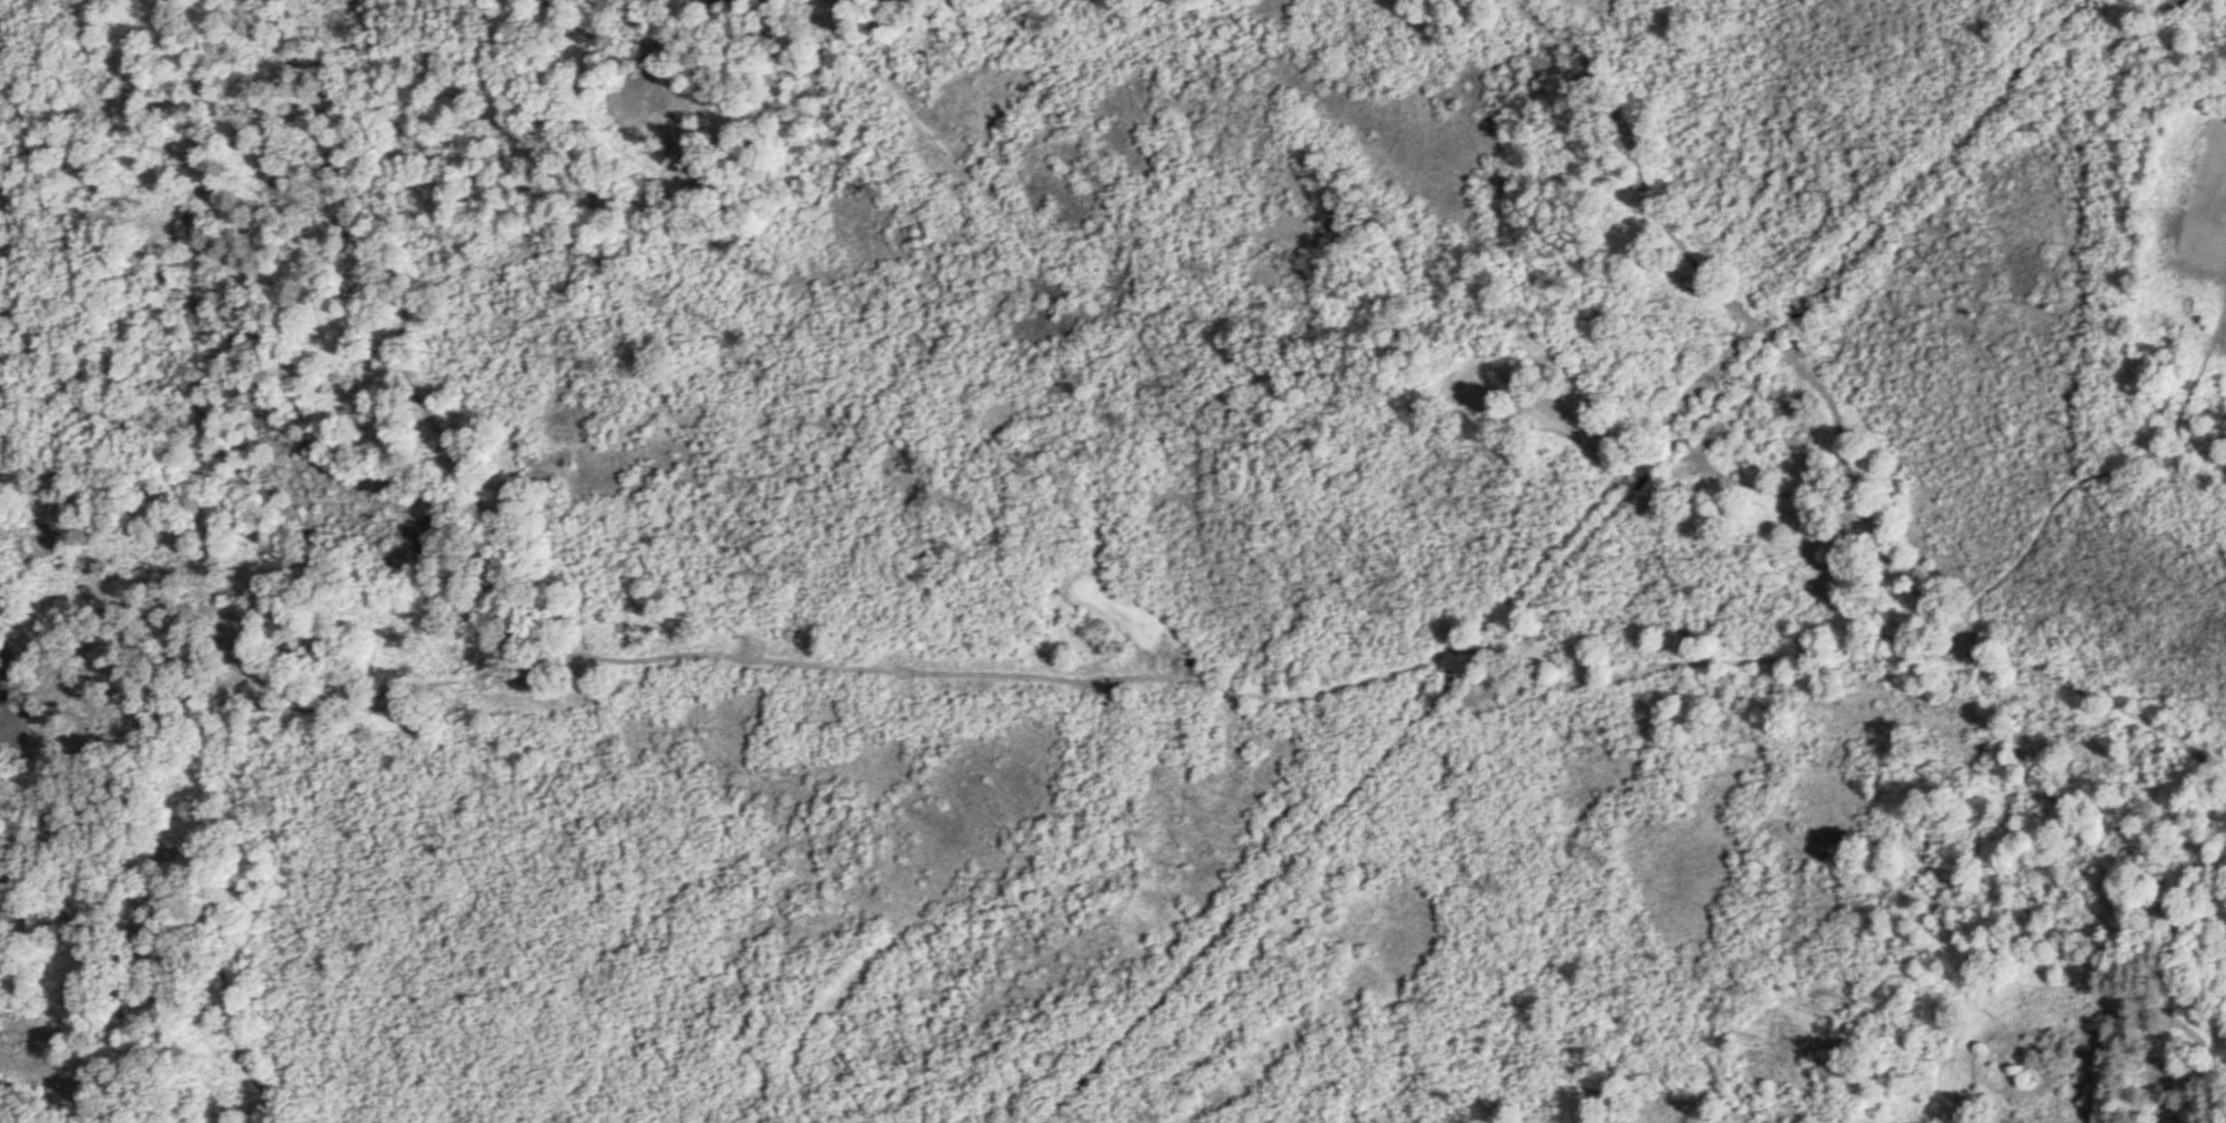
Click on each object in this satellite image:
road: (1883, 637)
road: (1486, 651)
road: (1052, 676)
road: (19, 708)
road: (209, 853)
road: (2171, 1000)

